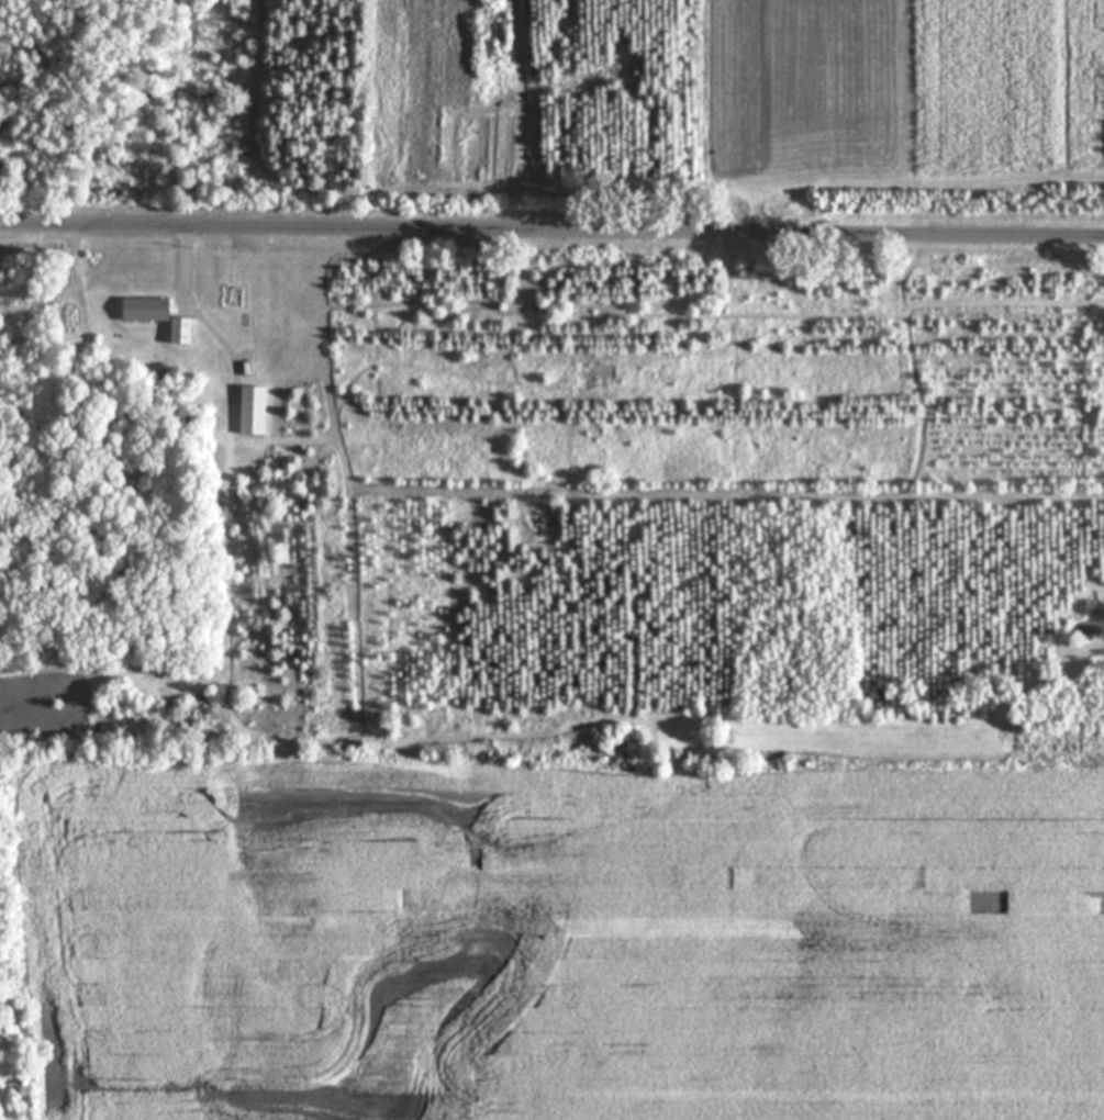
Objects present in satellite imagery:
road: (551, 229)
road: (186, 264)
building: (147, 309)
building: (181, 331)
building: (254, 410)

